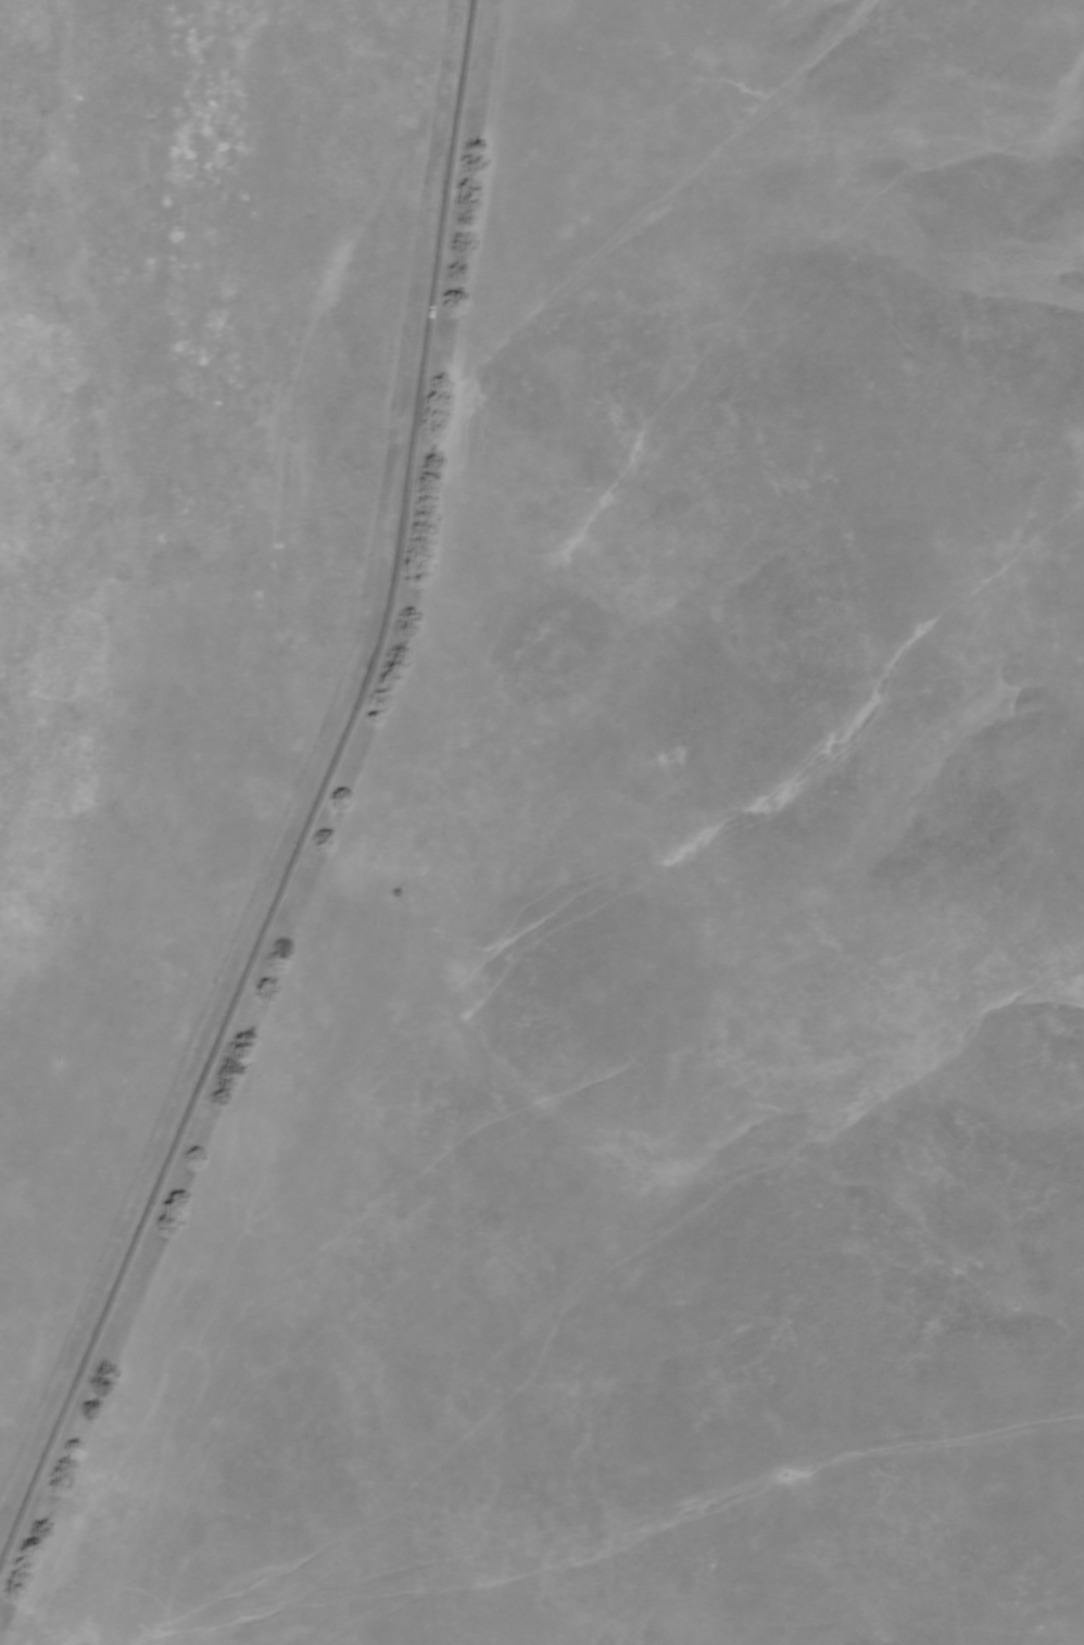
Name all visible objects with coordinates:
road: (315, 802)

